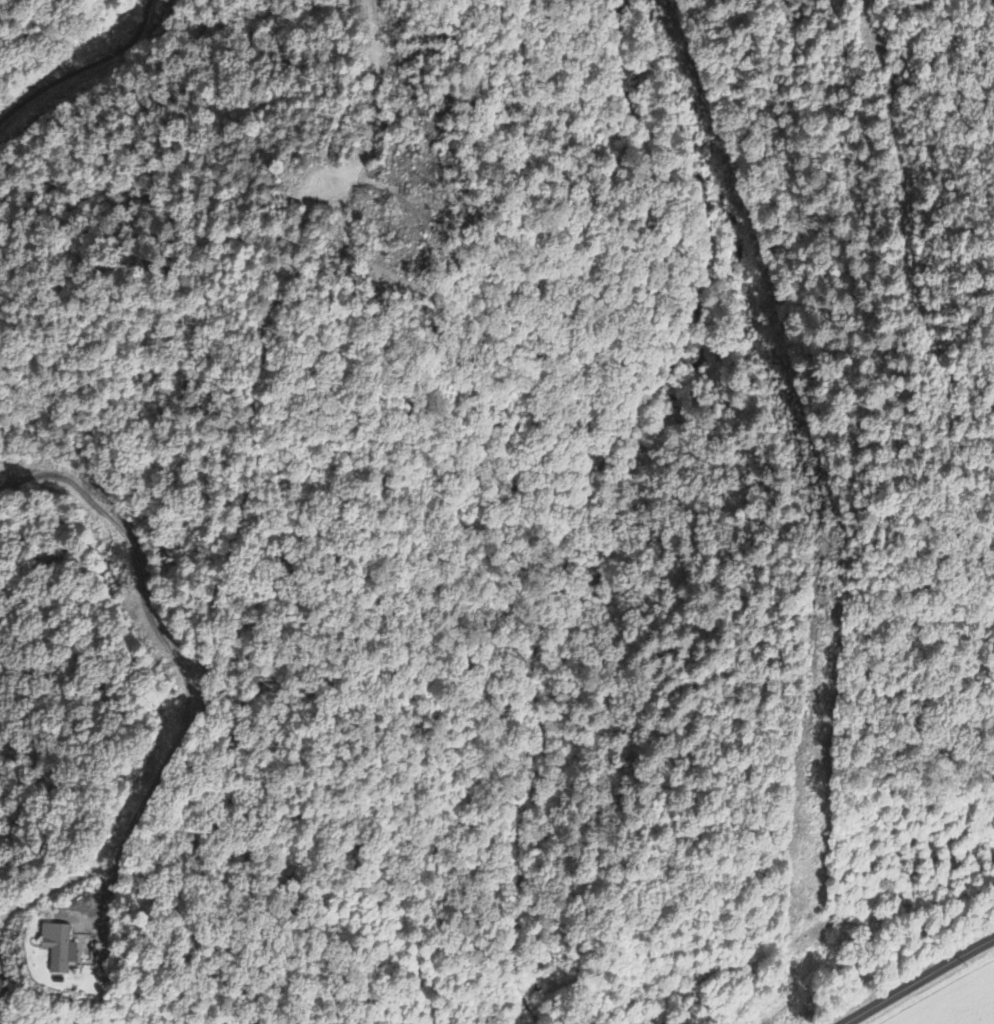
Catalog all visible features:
road: (83, 66)
road: (172, 656)
road: (52, 887)
building: (58, 948)
road: (914, 978)

